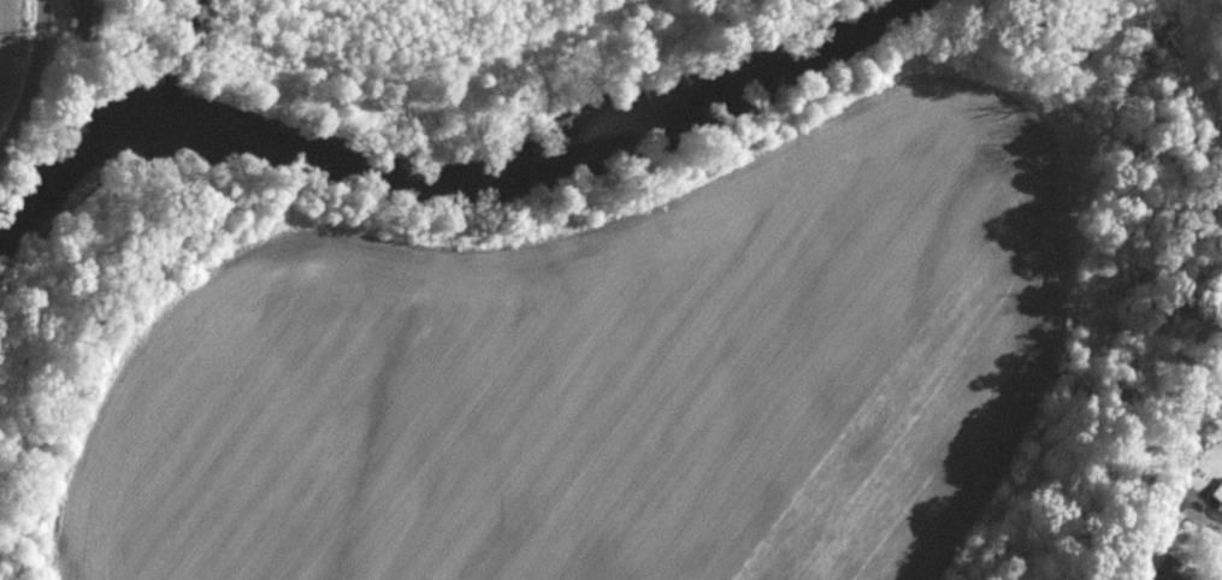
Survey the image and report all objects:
road: (34, 78)
river: (435, 184)
building: (1169, 492)
building: (1216, 493)
road: (1206, 525)

